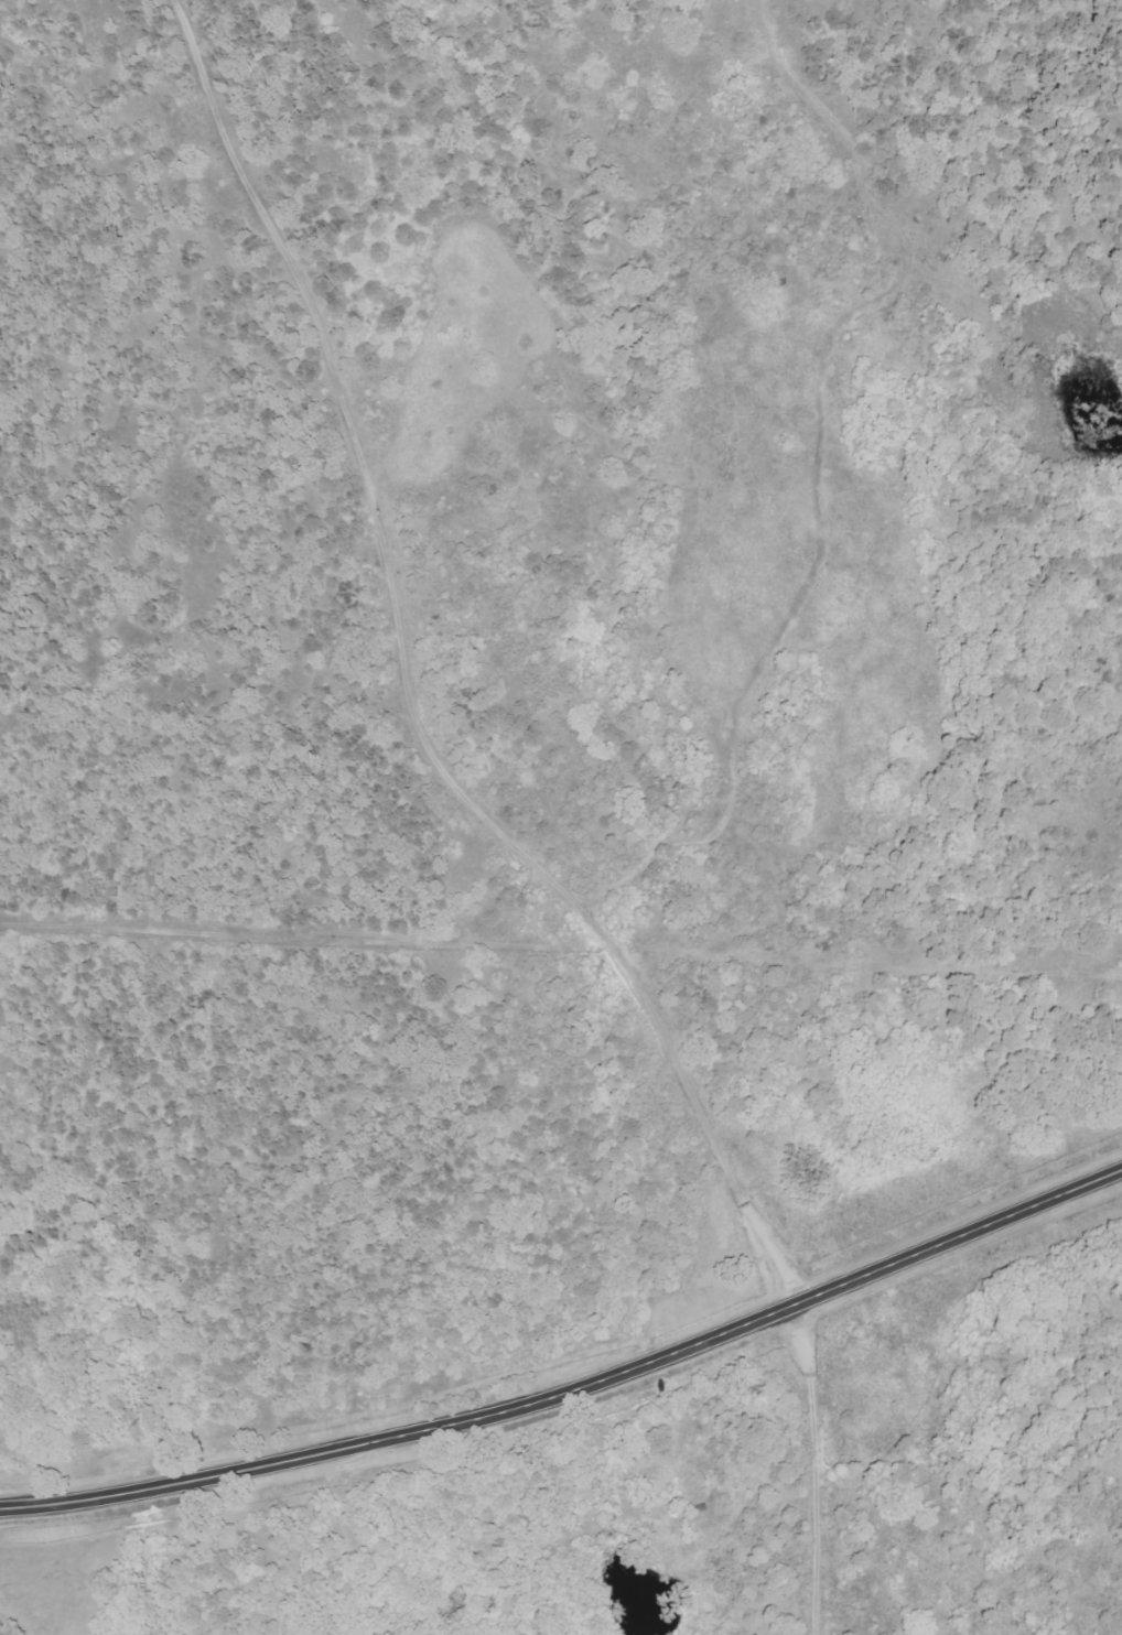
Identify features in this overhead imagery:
road: (175, 385)
road: (763, 802)
road: (503, 824)
road: (574, 1382)

